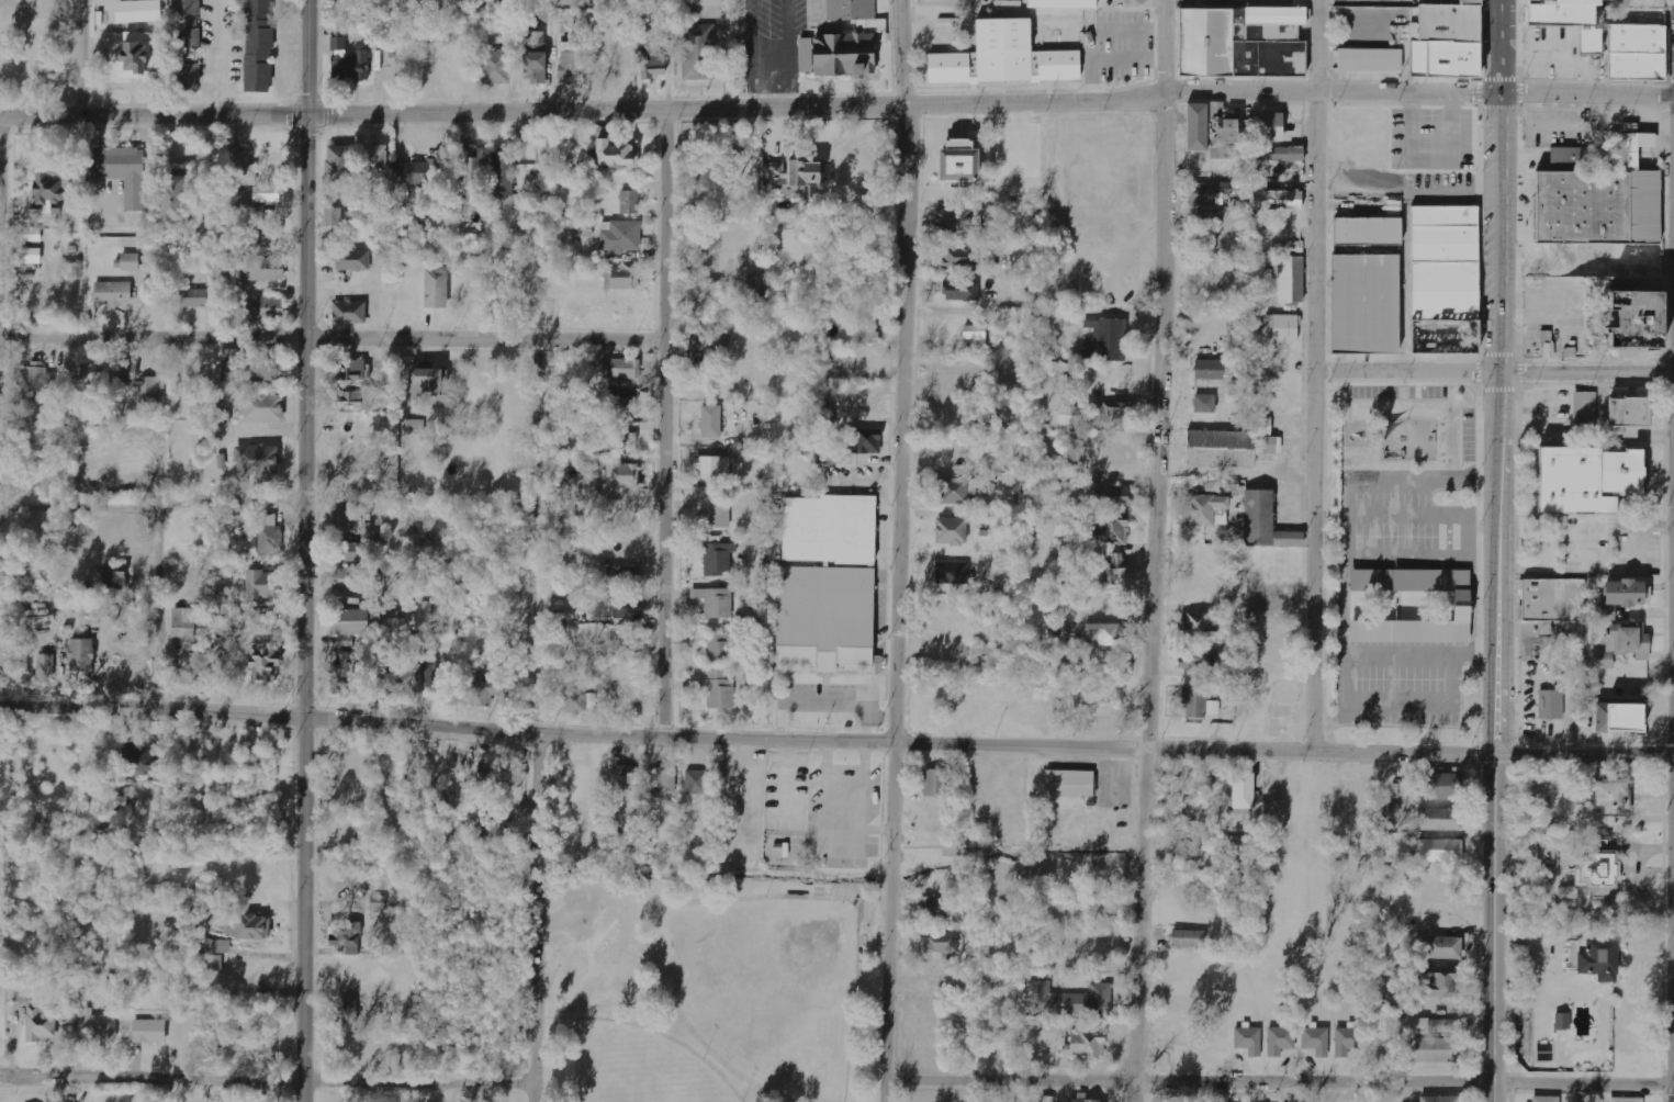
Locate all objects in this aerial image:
building: (697, 2)
building: (1060, 2)
building: (1554, 10)
building: (138, 11)
building: (1238, 38)
building: (1442, 38)
building: (841, 40)
building: (182, 44)
building: (255, 47)
road: (1667, 48)
building: (1625, 49)
building: (698, 52)
building: (132, 55)
building: (535, 58)
building: (1001, 58)
road: (74, 59)
building: (1366, 60)
building: (349, 61)
building: (570, 61)
building: (655, 63)
building: (496, 67)
road: (838, 108)
building: (1196, 127)
building: (1270, 128)
building: (1224, 135)
building: (616, 154)
building: (1281, 155)
building: (956, 161)
building: (338, 164)
building: (375, 164)
building: (243, 167)
building: (475, 168)
building: (416, 172)
building: (793, 172)
building: (120, 173)
building: (504, 175)
building: (44, 193)
building: (1210, 193)
building: (267, 194)
building: (1598, 196)
building: (172, 200)
building: (1277, 200)
building: (629, 202)
building: (333, 217)
road: (1665, 225)
building: (956, 227)
building: (582, 228)
building: (1369, 228)
building: (31, 235)
building: (266, 236)
building: (620, 237)
building: (30, 256)
building: (959, 257)
building: (353, 261)
building: (130, 262)
building: (263, 269)
building: (74, 271)
building: (621, 278)
building: (1441, 278)
building: (1291, 279)
building: (1649, 288)
building: (437, 289)
building: (754, 290)
building: (960, 290)
building: (112, 294)
building: (190, 299)
building: (1363, 305)
building: (262, 308)
building: (349, 312)
building: (1632, 321)
building: (867, 327)
building: (1281, 329)
building: (975, 334)
building: (712, 337)
building: (1109, 339)
road: (333, 340)
building: (1542, 347)
road: (1667, 353)
building: (250, 368)
building: (625, 369)
building: (351, 370)
building: (1209, 370)
road: (1663, 371)
road: (1495, 372)
road: (1316, 375)
building: (37, 376)
building: (91, 378)
building: (138, 381)
road: (1589, 382)
road: (1669, 385)
building: (425, 386)
building: (357, 400)
building: (1204, 403)
building: (626, 406)
building: (263, 408)
building: (1584, 408)
building: (1122, 413)
building: (226, 416)
building: (1074, 416)
road: (664, 425)
building: (417, 426)
building: (711, 426)
park: (1406, 427)
building: (863, 441)
building: (1268, 446)
building: (1220, 449)
road: (1665, 450)
building: (257, 460)
building: (1591, 463)
building: (714, 469)
building: (622, 475)
building: (1011, 479)
road: (1517, 479)
building: (955, 491)
road: (240, 505)
building: (1206, 510)
road: (1591, 514)
building: (716, 515)
building: (1111, 515)
building: (1265, 524)
building: (828, 530)
building: (951, 531)
building: (268, 535)
building: (622, 540)
parking lot: (1613, 546)
road: (302, 550)
road: (896, 550)
road: (1497, 550)
road: (1149, 551)
building: (717, 556)
building: (1116, 567)
building: (952, 573)
building: (621, 575)
building: (114, 576)
building: (348, 578)
building: (262, 585)
building: (1620, 597)
building: (1553, 599)
road: (158, 600)
building: (715, 603)
building: (1462, 607)
building: (619, 609)
building: (419, 615)
building: (824, 617)
building: (367, 621)
building: (192, 623)
building: (1198, 626)
building: (1544, 628)
building: (1105, 633)
building: (1620, 645)
building: (718, 648)
building: (81, 656)
building: (1199, 663)
building: (46, 666)
building: (195, 666)
building: (345, 673)
building: (391, 682)
building: (720, 690)
building: (484, 693)
building: (581, 701)
building: (1551, 705)
building: (1213, 708)
building: (1617, 719)
road: (836, 742)
building: (137, 760)
building: (490, 768)
building: (626, 777)
building: (662, 780)
building: (696, 783)
building: (935, 783)
building: (1068, 784)
building: (1441, 787)
building: (1243, 790)
building: (1609, 800)
building: (1439, 820)
building: (493, 832)
building: (958, 847)
building: (1189, 847)
building: (1234, 847)
building: (1439, 851)
building: (1547, 853)
building: (379, 902)
building: (934, 907)
road: (535, 917)
building: (251, 927)
building: (1188, 935)
building: (347, 936)
building: (940, 943)
building: (1438, 947)
building: (215, 954)
building: (1597, 958)
park: (765, 979)
building: (1439, 980)
park: (711, 987)
building: (1069, 1000)
building: (348, 1011)
building: (1562, 1020)
building: (41, 1025)
building: (98, 1025)
building: (1425, 1025)
building: (149, 1031)
building: (1248, 1039)
building: (1316, 1039)
building: (1347, 1039)
building: (1280, 1041)
building: (1085, 1044)
building: (1437, 1049)
park: (632, 1068)
road: (266, 1083)
road: (1279, 1083)
building: (1440, 1099)
building: (1546, 1099)
building: (1085, 1100)
building: (1626, 1100)

